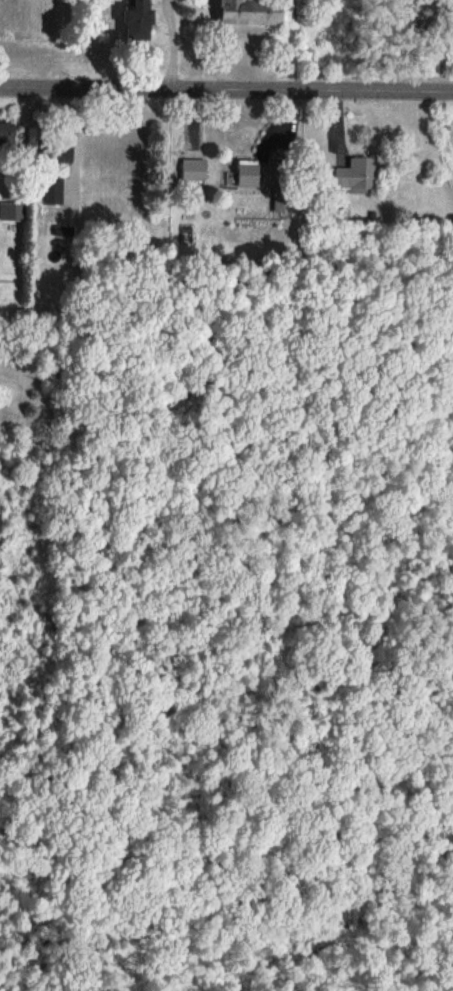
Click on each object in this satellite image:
building: (244, 11)
building: (131, 20)
road: (172, 45)
road: (221, 45)
road: (226, 92)
building: (1, 136)
building: (56, 151)
building: (192, 169)
building: (247, 173)
building: (354, 175)
building: (49, 190)

